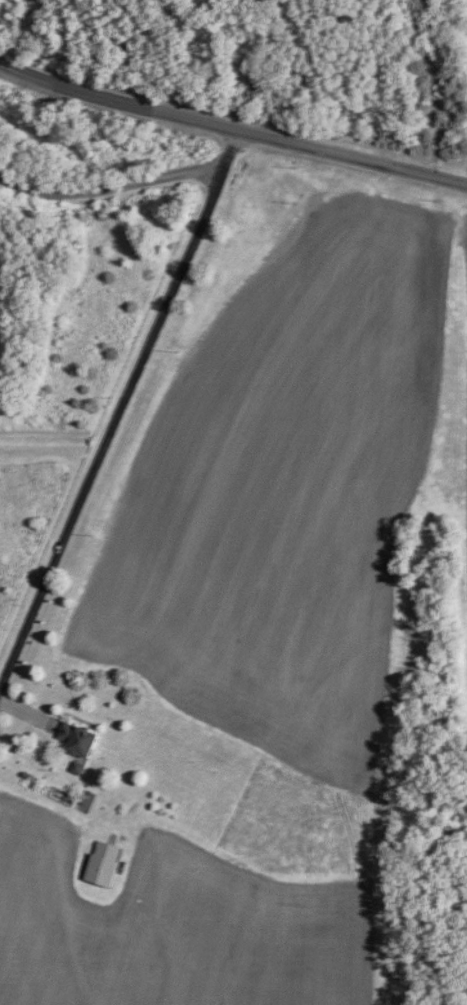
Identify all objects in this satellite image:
road: (232, 127)
road: (113, 187)
road: (122, 410)
building: (76, 740)
building: (101, 864)

